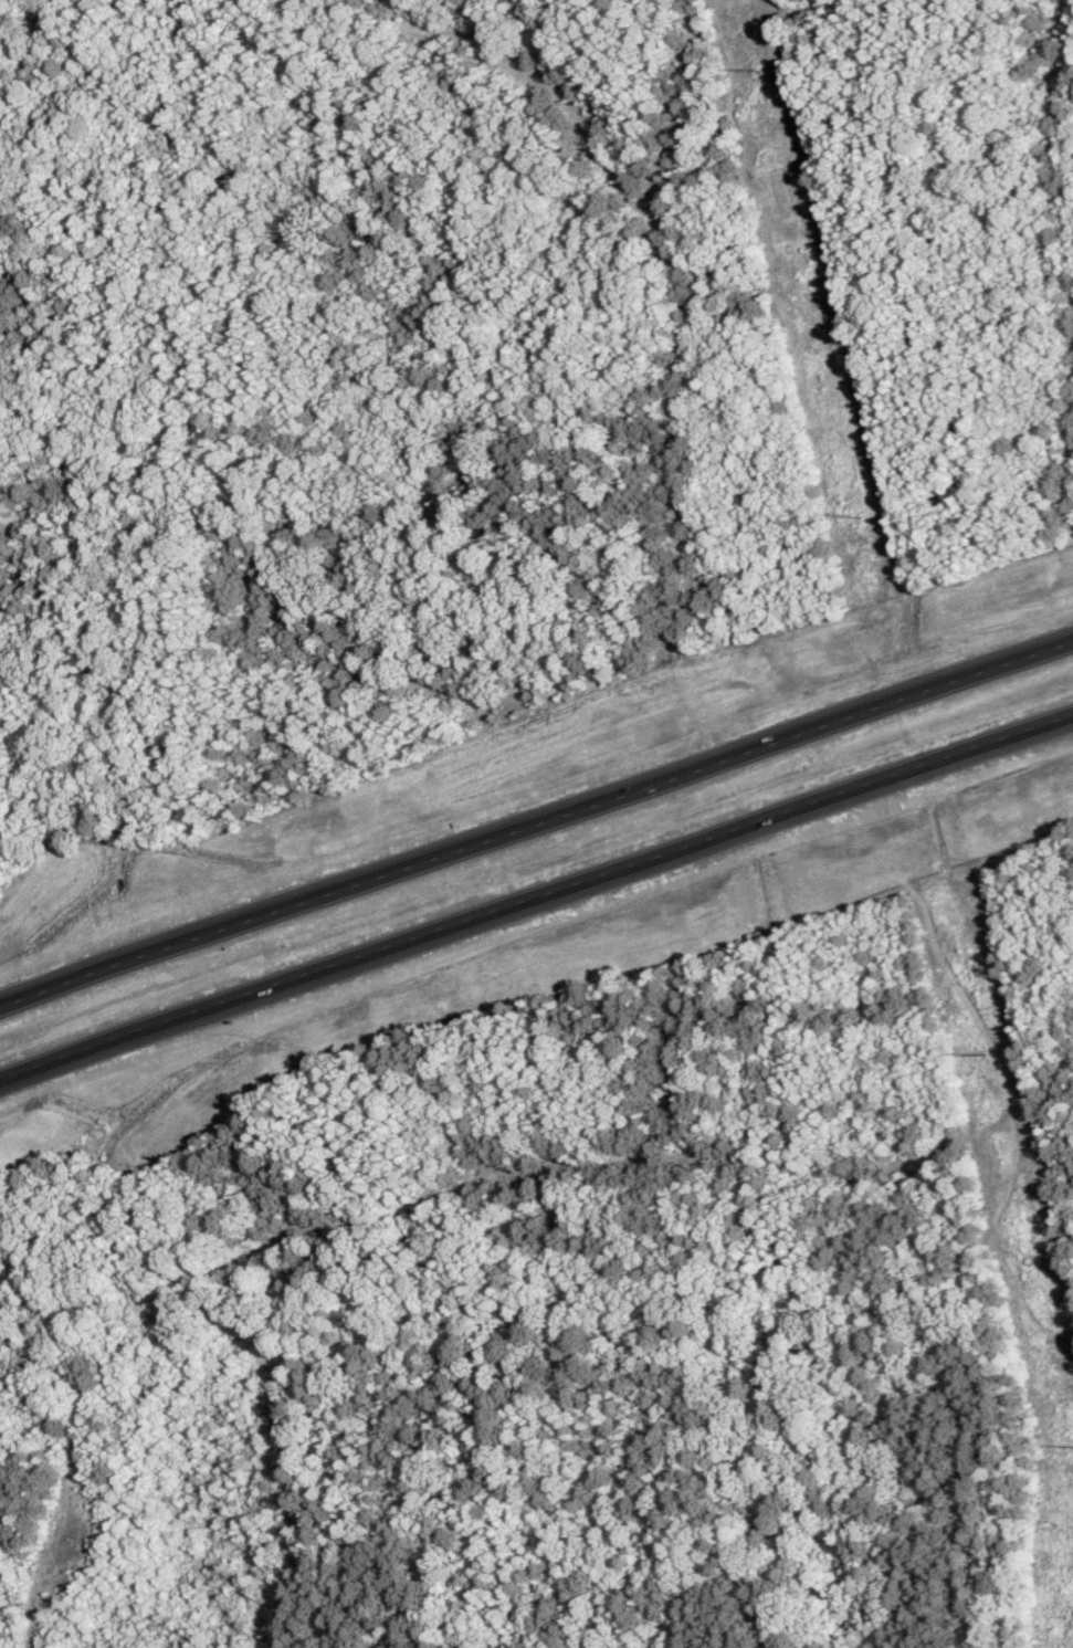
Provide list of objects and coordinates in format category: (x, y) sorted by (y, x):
road: (536, 818)
road: (536, 886)
road: (840, 910)
road: (1011, 1122)
road: (502, 1175)

